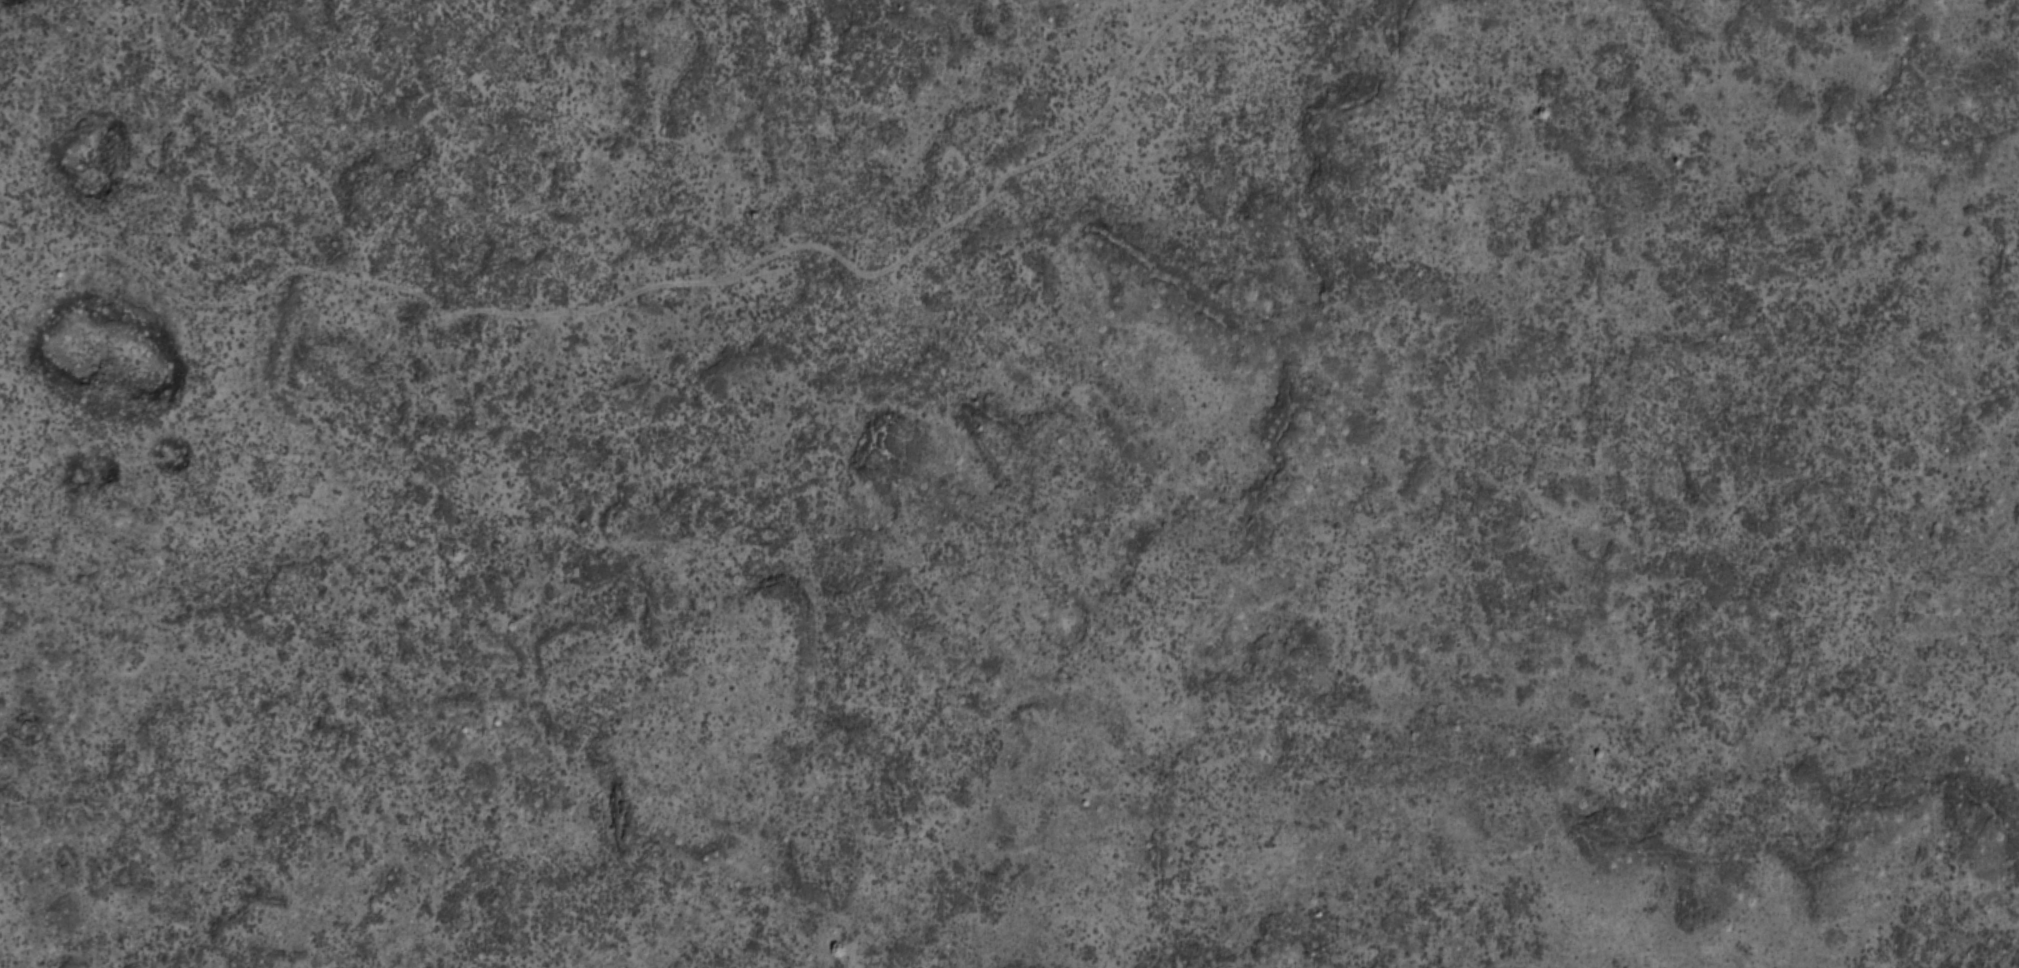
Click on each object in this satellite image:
road: (844, 264)
road: (189, 300)

